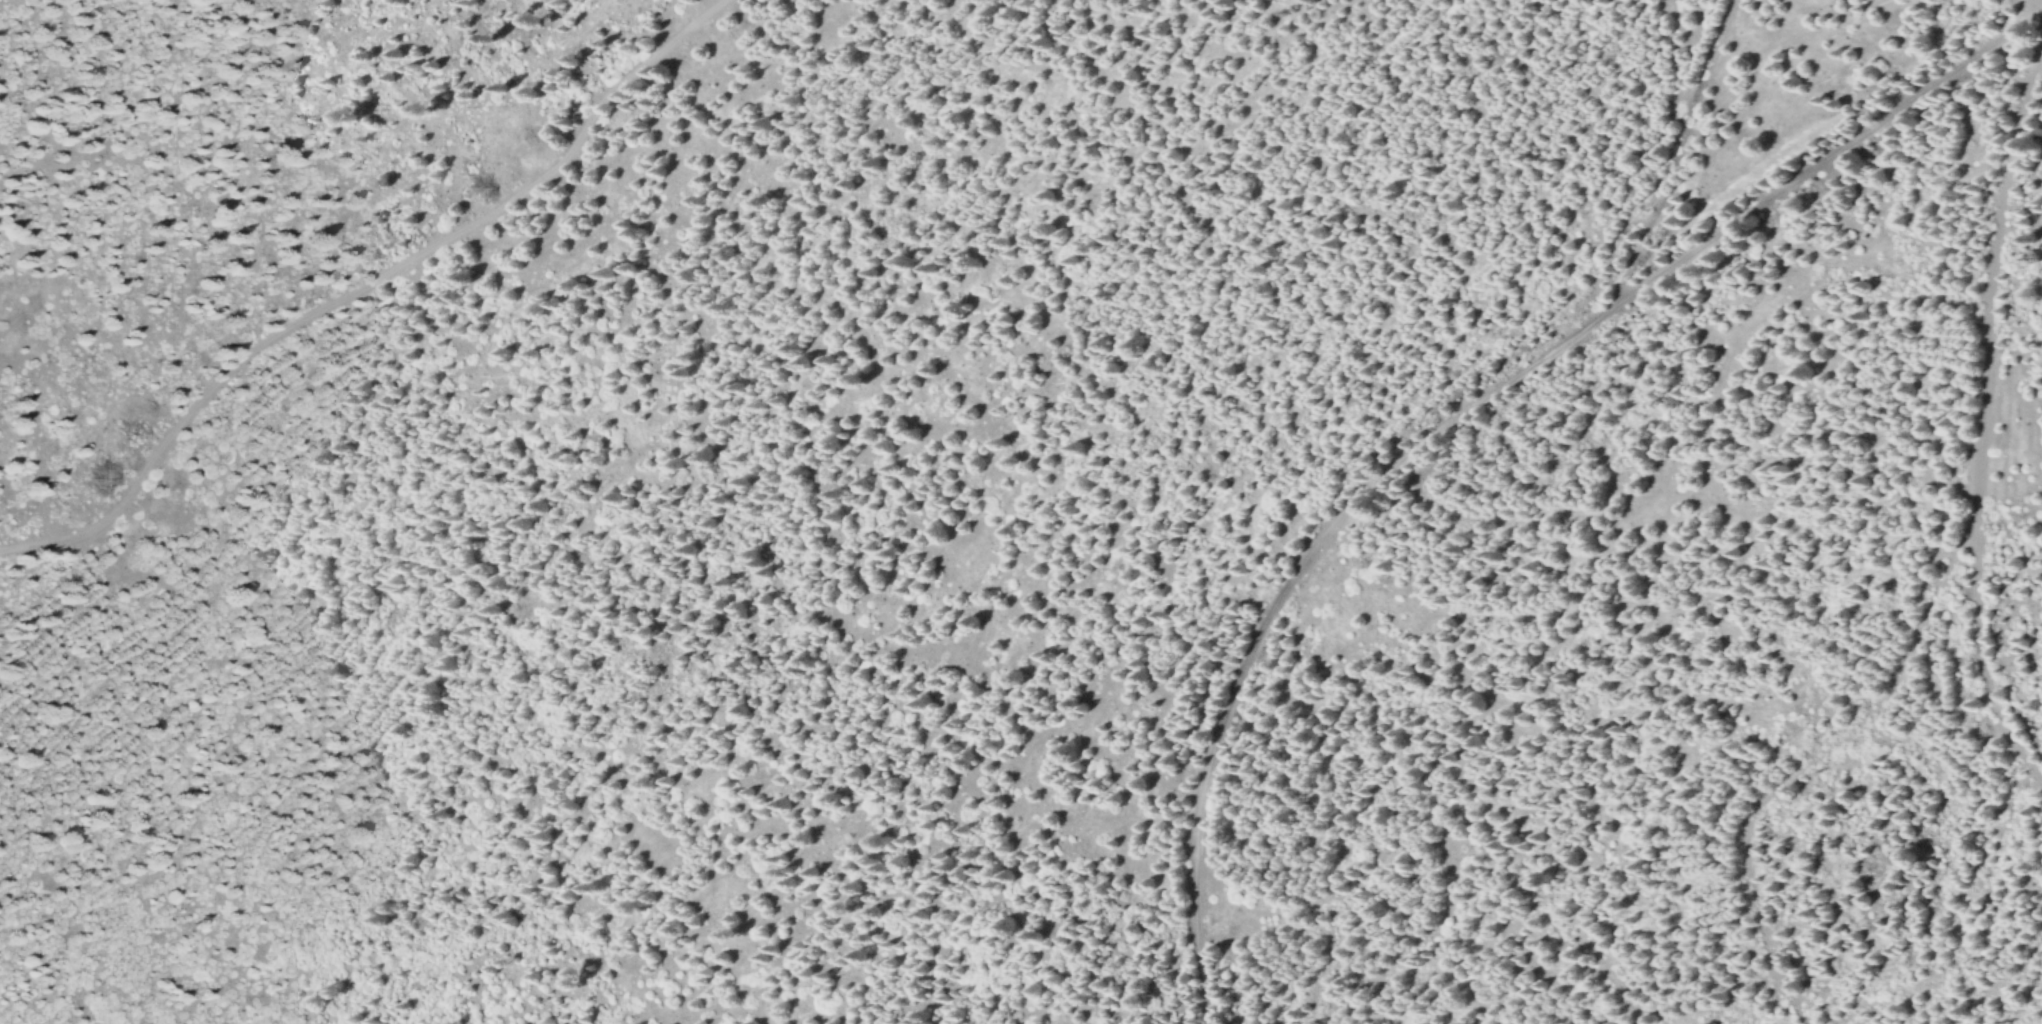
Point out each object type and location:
road: (362, 283)
road: (1988, 291)
road: (1459, 407)
road: (1979, 651)
road: (1815, 763)

